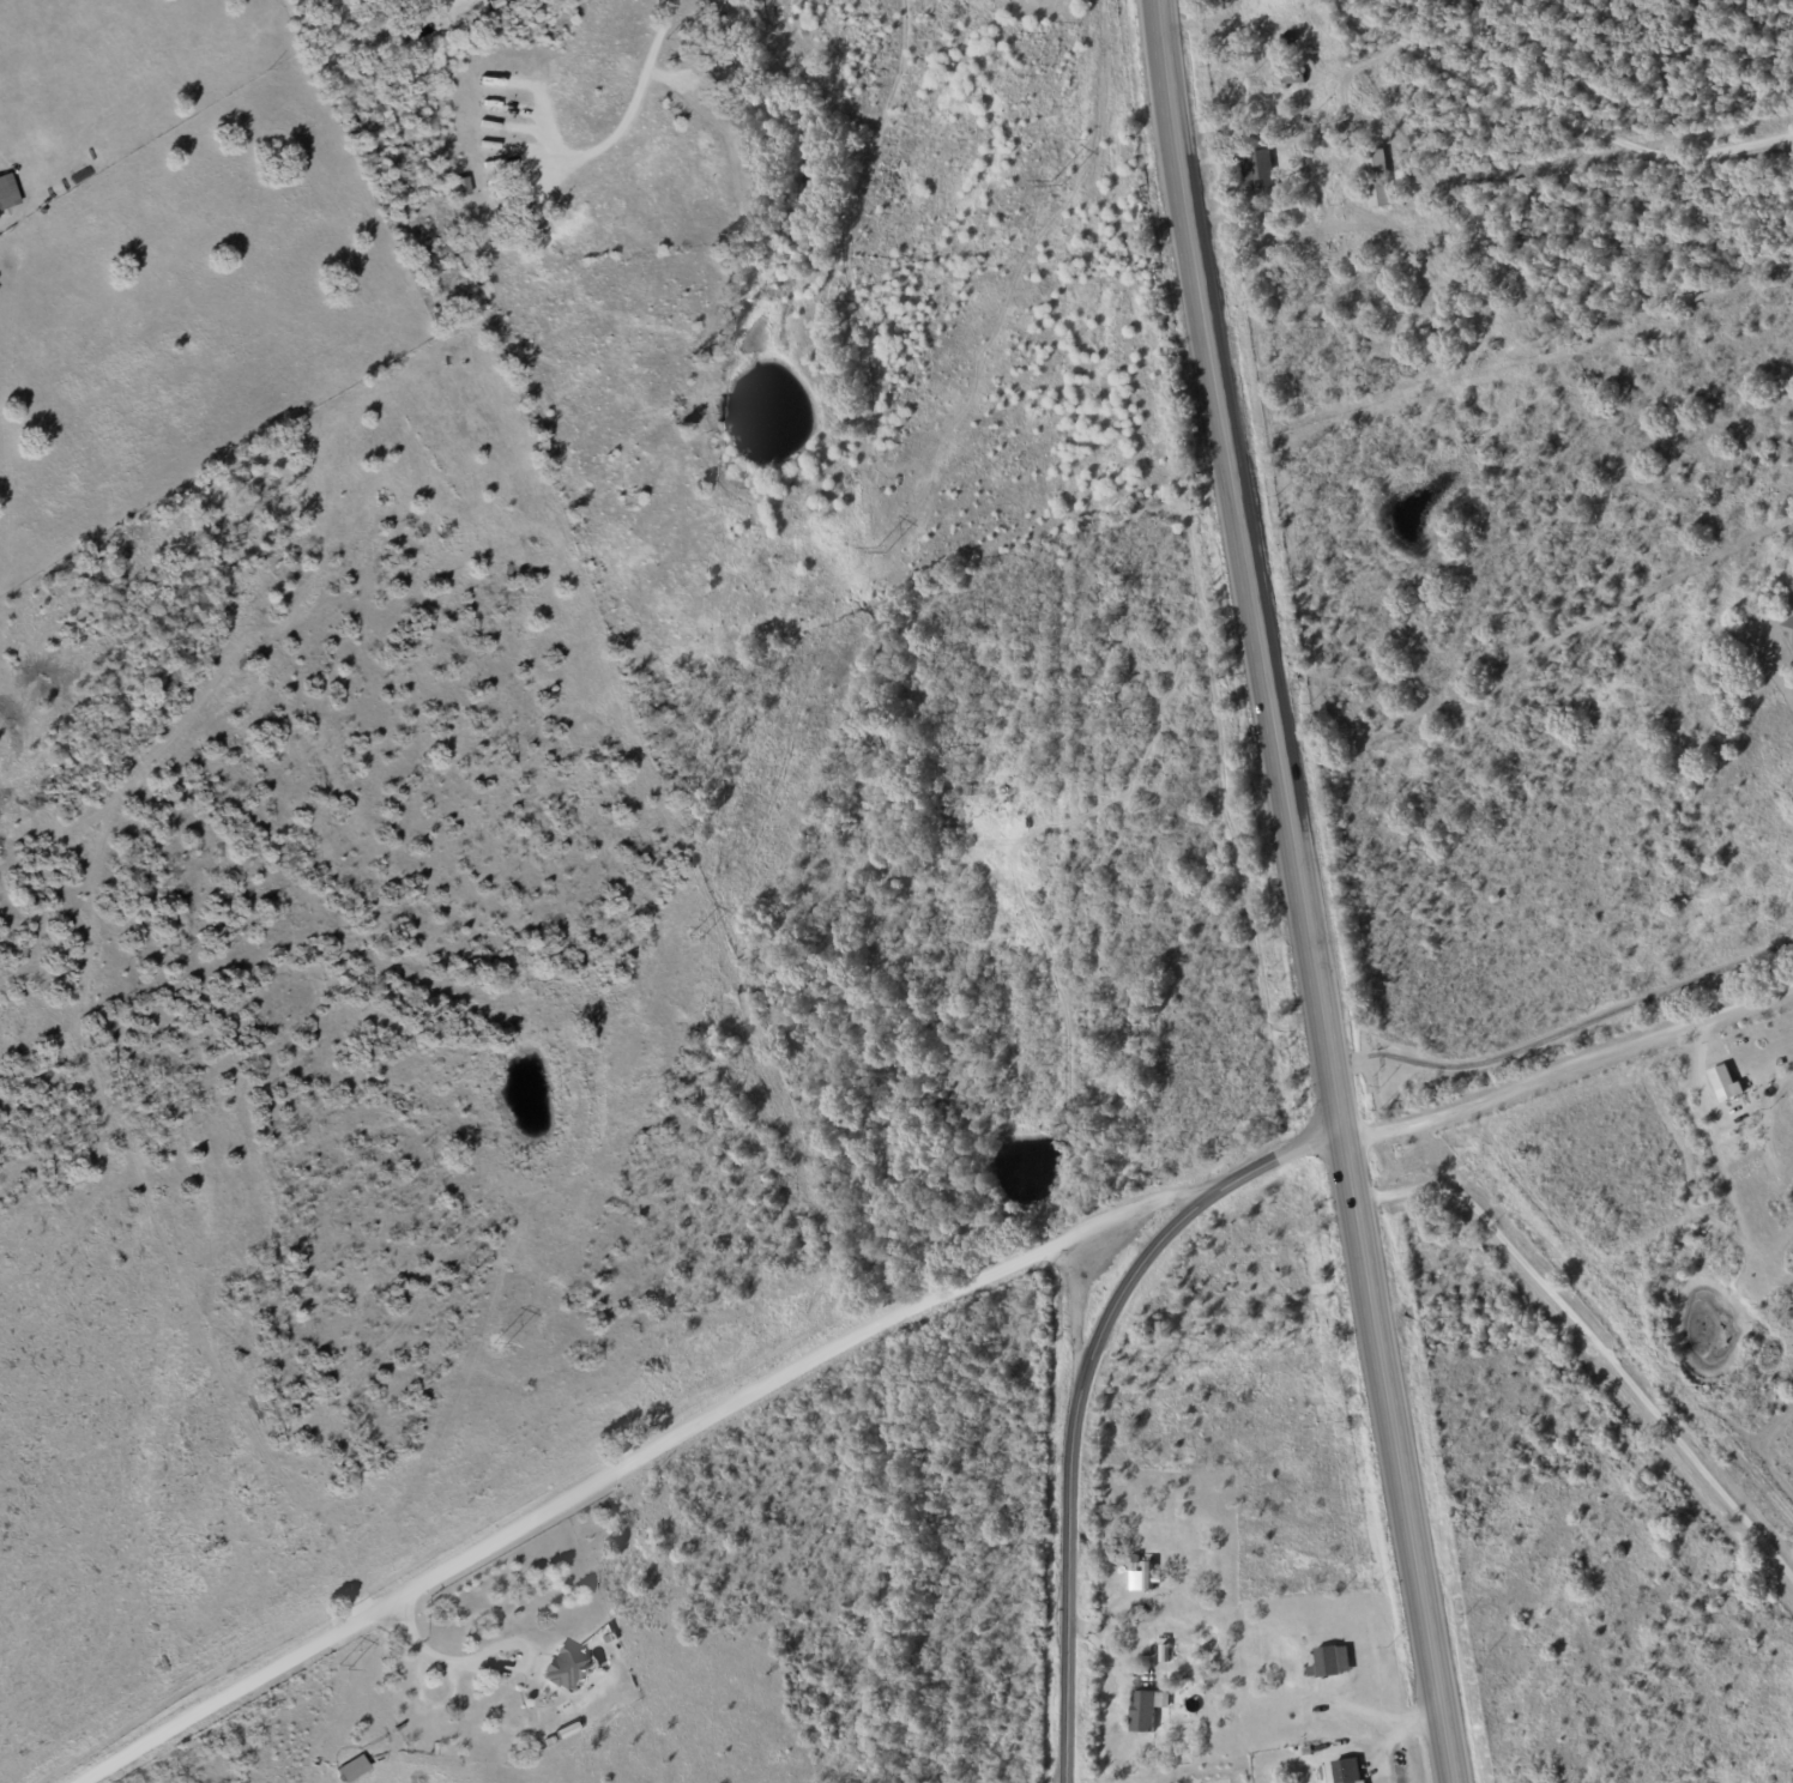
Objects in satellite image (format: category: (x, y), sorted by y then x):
building: (1292, 77)
road: (1557, 116)
road: (535, 121)
building: (1260, 169)
building: (1376, 179)
power tower: (1052, 185)
building: (460, 186)
building: (7, 191)
road: (575, 283)
power tower: (876, 551)
building: (1789, 627)
road: (1300, 891)
power tower: (693, 935)
road: (1566, 1033)
road: (1569, 1066)
building: (1725, 1083)
park: (237, 1291)
road: (1080, 1317)
power tower: (493, 1350)
road: (1592, 1356)
road: (1080, 1394)
road: (629, 1464)
building: (1148, 1576)
road: (1118, 1612)
road: (1107, 1660)
building: (1330, 1662)
road: (483, 1667)
building: (563, 1667)
power tower: (340, 1668)
building: (1146, 1710)
building: (352, 1767)
building: (1348, 1771)

